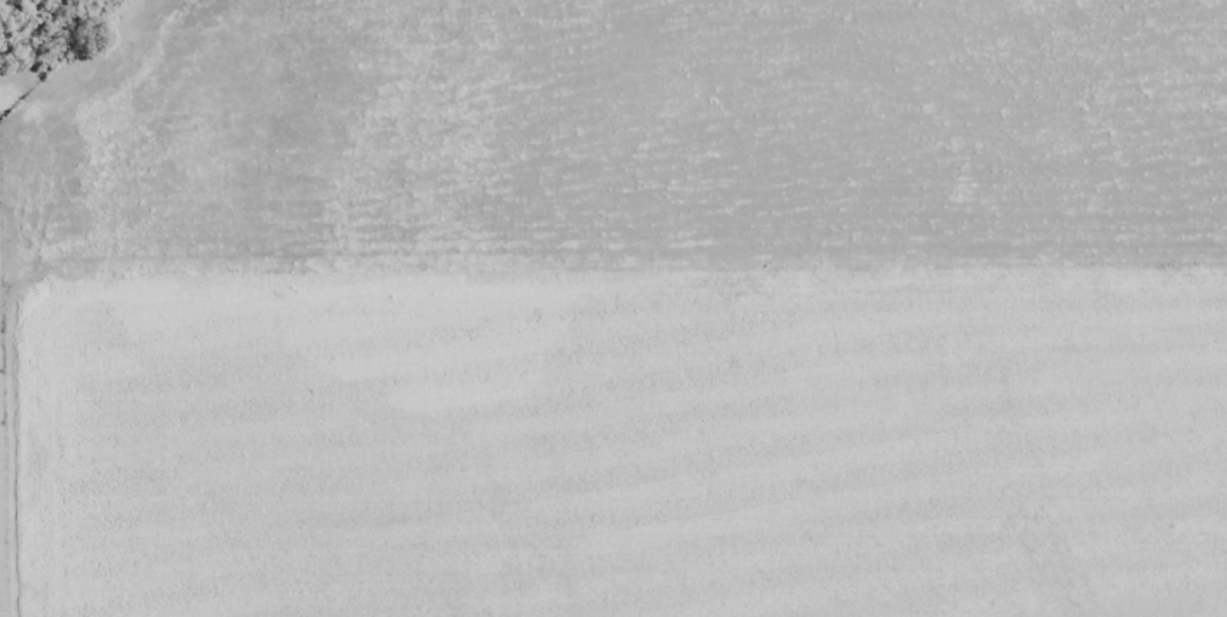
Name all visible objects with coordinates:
road: (610, 307)

